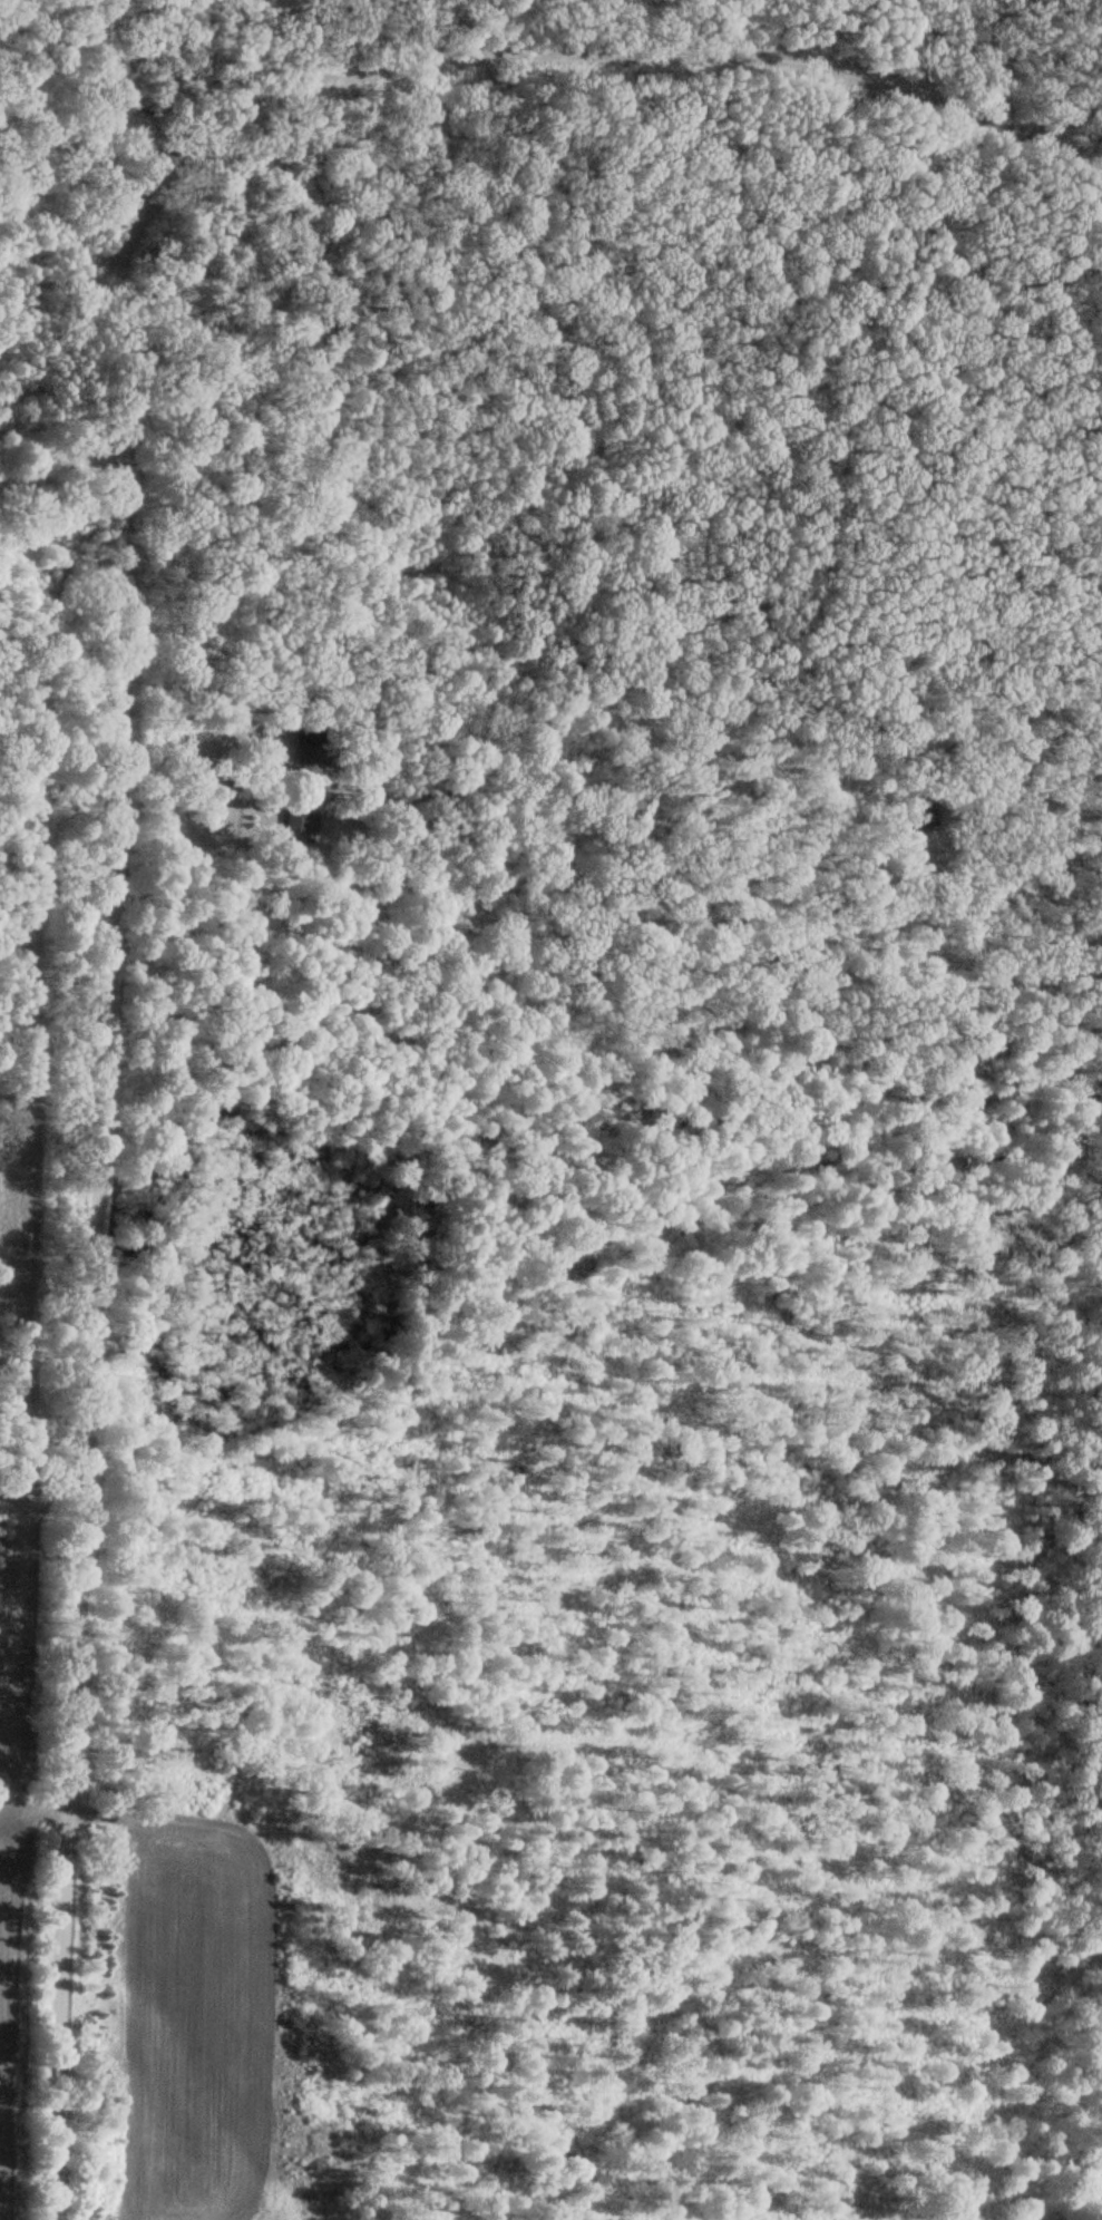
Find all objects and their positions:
road: (624, 42)
road: (86, 1182)

